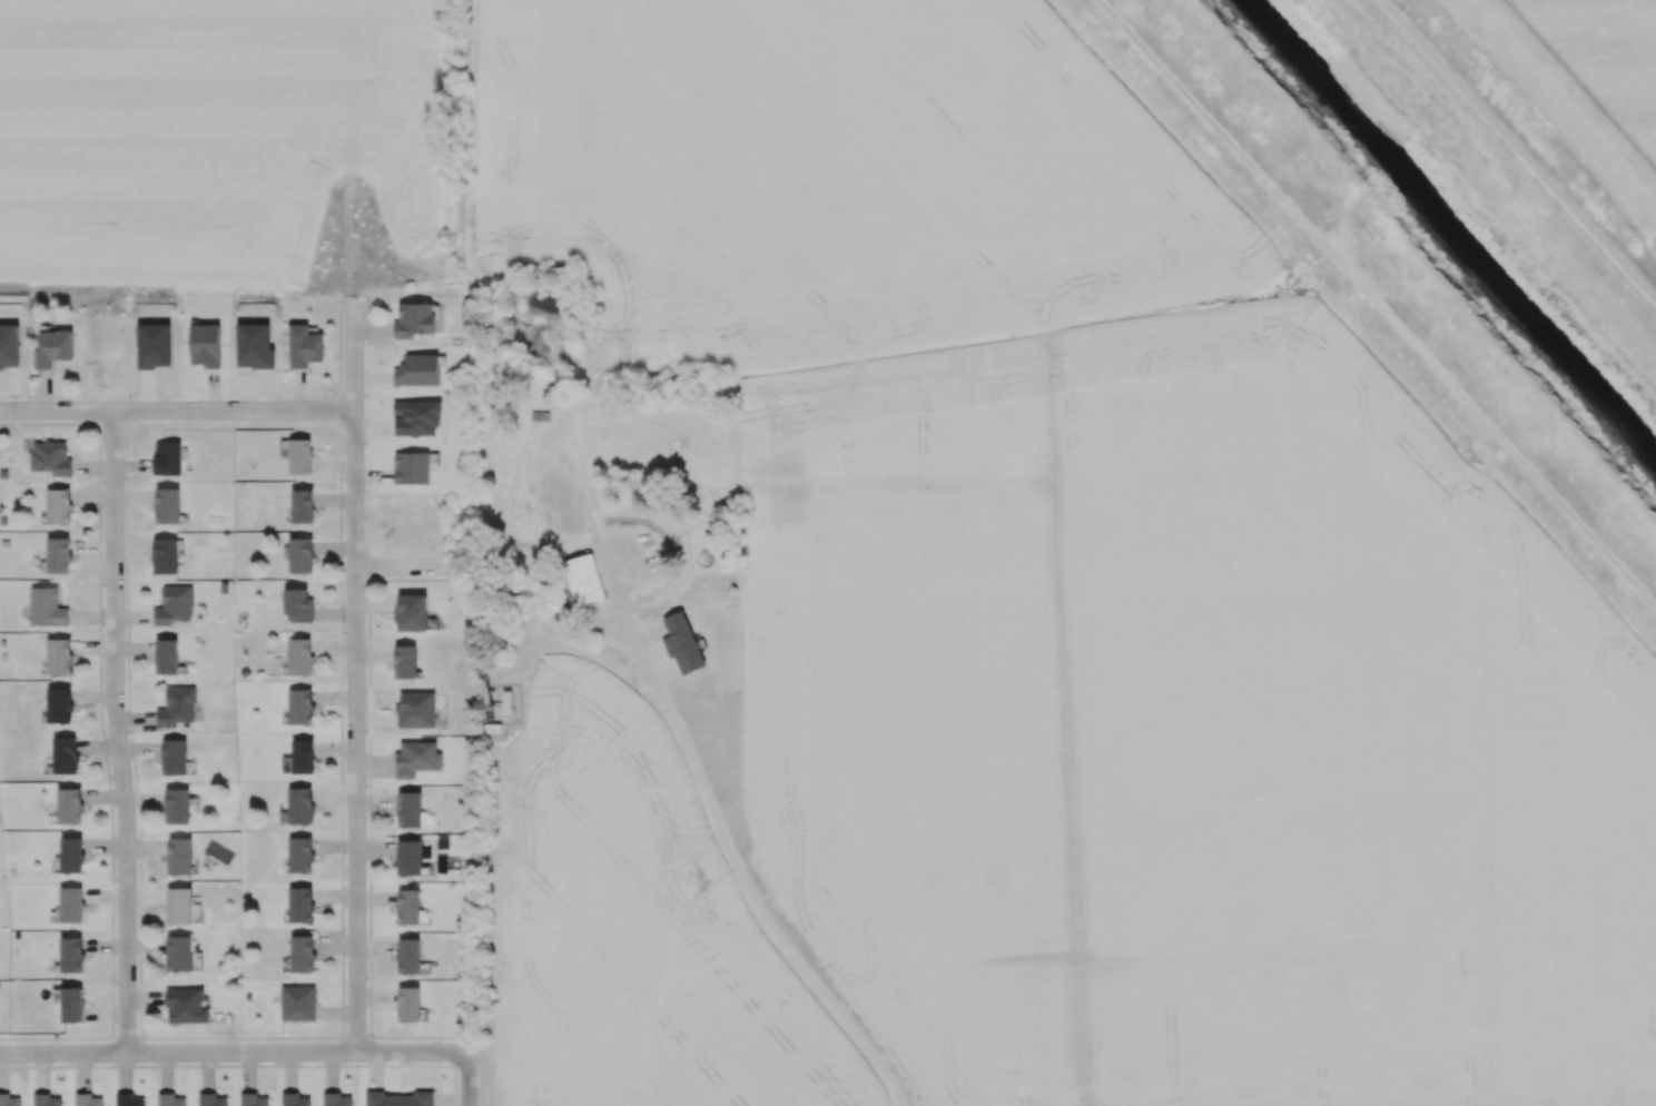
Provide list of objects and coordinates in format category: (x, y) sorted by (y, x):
crop: (1589, 73)
road: (1520, 148)
river: (1450, 226)
building: (414, 319)
building: (205, 344)
building: (304, 345)
building: (52, 347)
building: (417, 369)
road: (179, 412)
building: (297, 454)
building: (48, 456)
building: (167, 457)
building: (412, 467)
building: (167, 505)
building: (302, 505)
building: (58, 506)
building: (299, 554)
building: (58, 555)
building: (165, 555)
road: (406, 570)
building: (583, 577)
building: (174, 605)
building: (297, 605)
building: (46, 606)
building: (412, 612)
road: (625, 619)
road: (648, 634)
building: (682, 643)
road: (576, 650)
building: (58, 655)
building: (166, 655)
building: (298, 655)
building: (405, 661)
road: (647, 664)
road: (356, 665)
building: (59, 704)
building: (177, 705)
building: (299, 705)
building: (416, 709)
road: (116, 731)
building: (65, 754)
building: (174, 756)
building: (303, 756)
building: (416, 758)
building: (69, 804)
building: (177, 804)
building: (299, 804)
building: (408, 808)
building: (299, 853)
building: (71, 855)
building: (179, 855)
building: (408, 857)
building: (70, 903)
building: (299, 903)
building: (179, 905)
building: (408, 906)
road: (760, 909)
building: (179, 952)
building: (70, 954)
building: (302, 954)
building: (408, 955)
building: (297, 1003)
building: (71, 1004)
building: (408, 1004)
building: (186, 1005)
road: (233, 1051)
road: (467, 1079)
building: (400, 1098)
building: (10, 1099)
building: (45, 1099)
building: (87, 1099)
building: (128, 1099)
building: (169, 1099)
building: (211, 1099)
building: (253, 1099)
building: (294, 1099)
building: (335, 1099)

